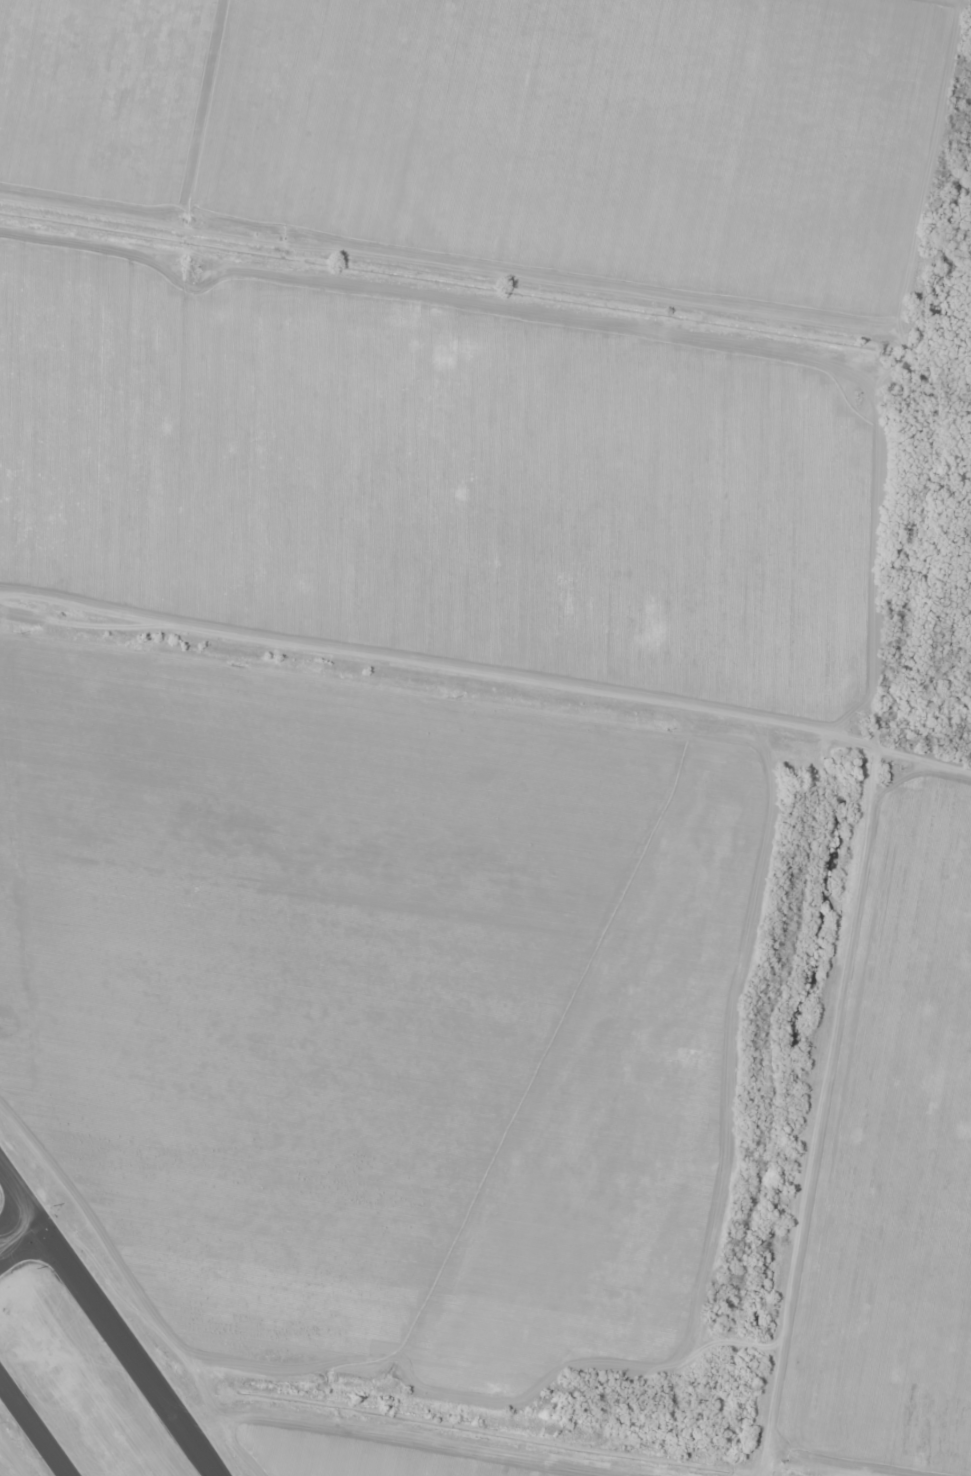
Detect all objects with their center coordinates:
road: (22, 618)
road: (507, 691)
road: (821, 1109)
road: (18, 1230)
road: (108, 1319)
road: (33, 1429)

